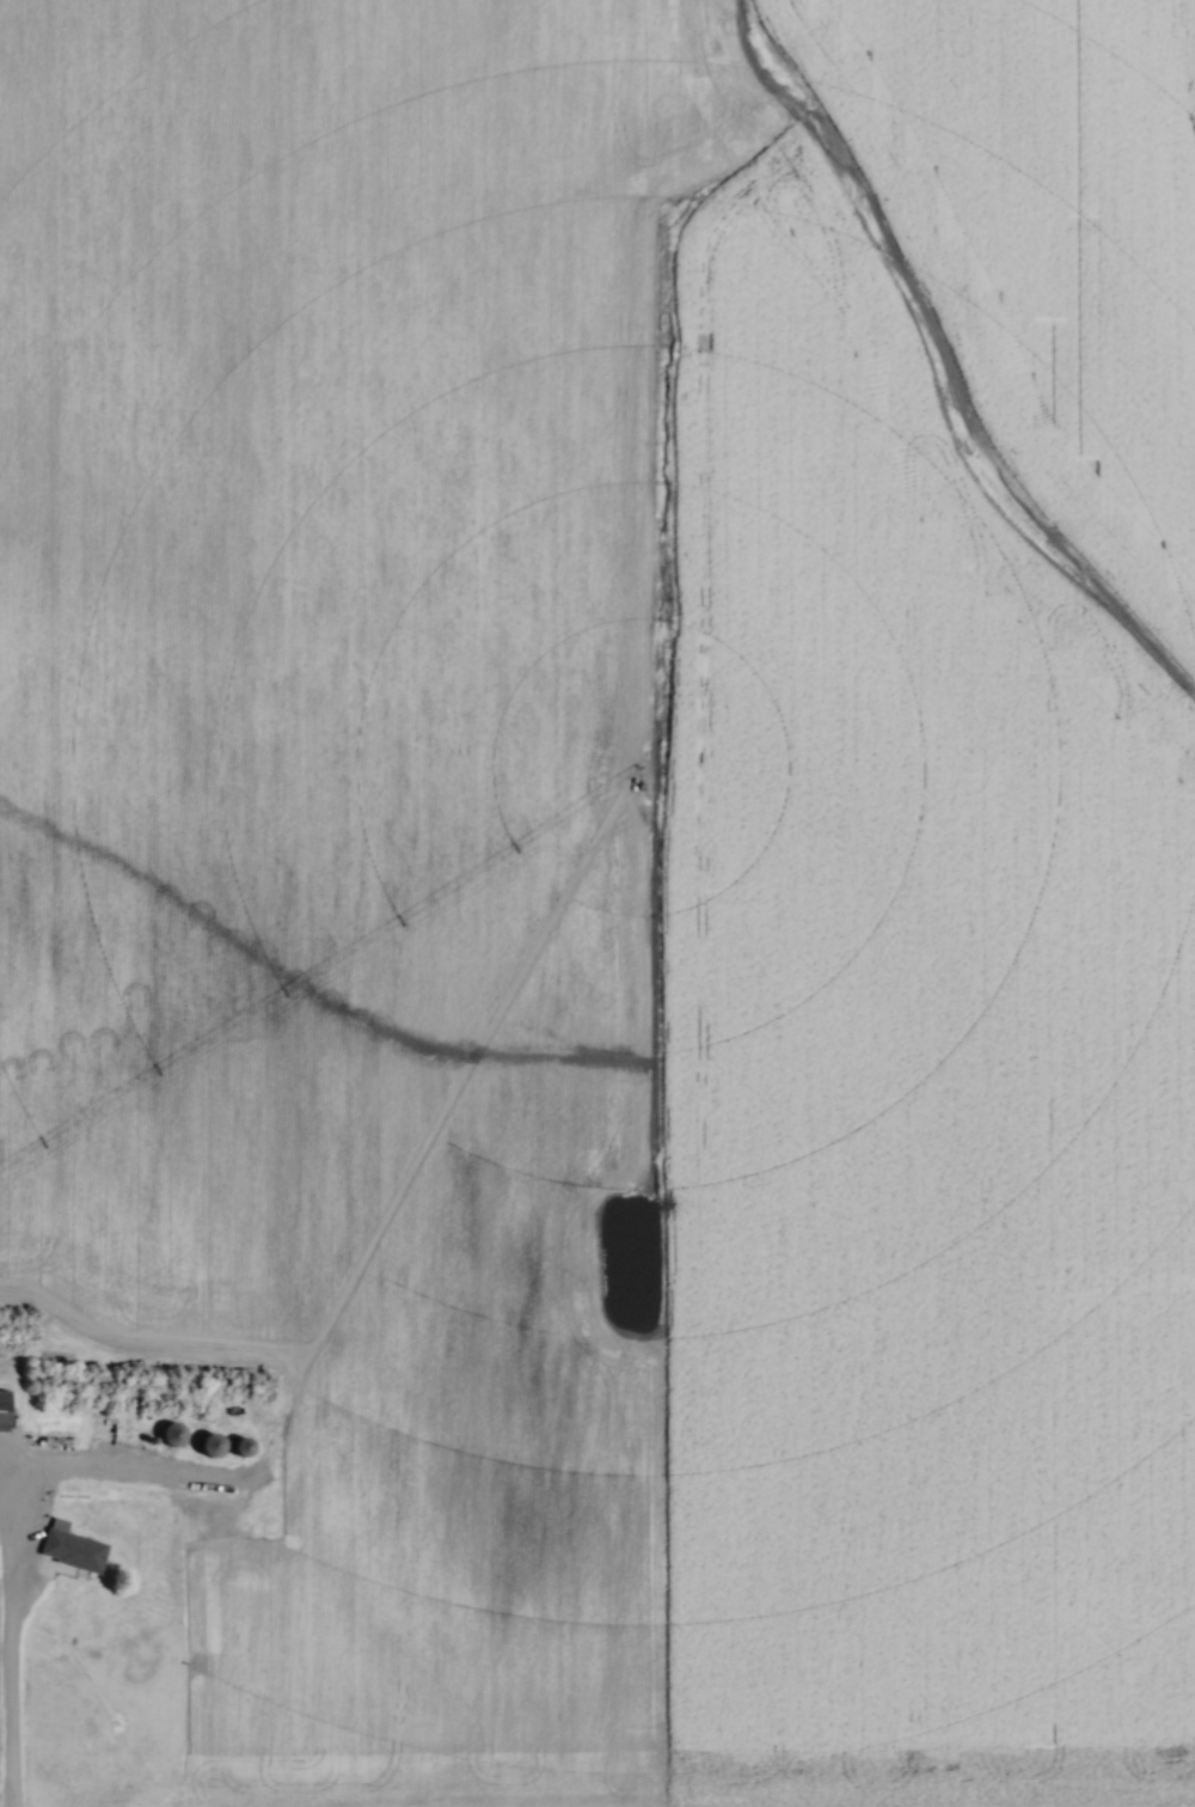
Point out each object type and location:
building: (2, 1411)
building: (170, 1436)
building: (209, 1447)
building: (240, 1449)
building: (71, 1550)
road: (10, 1690)

